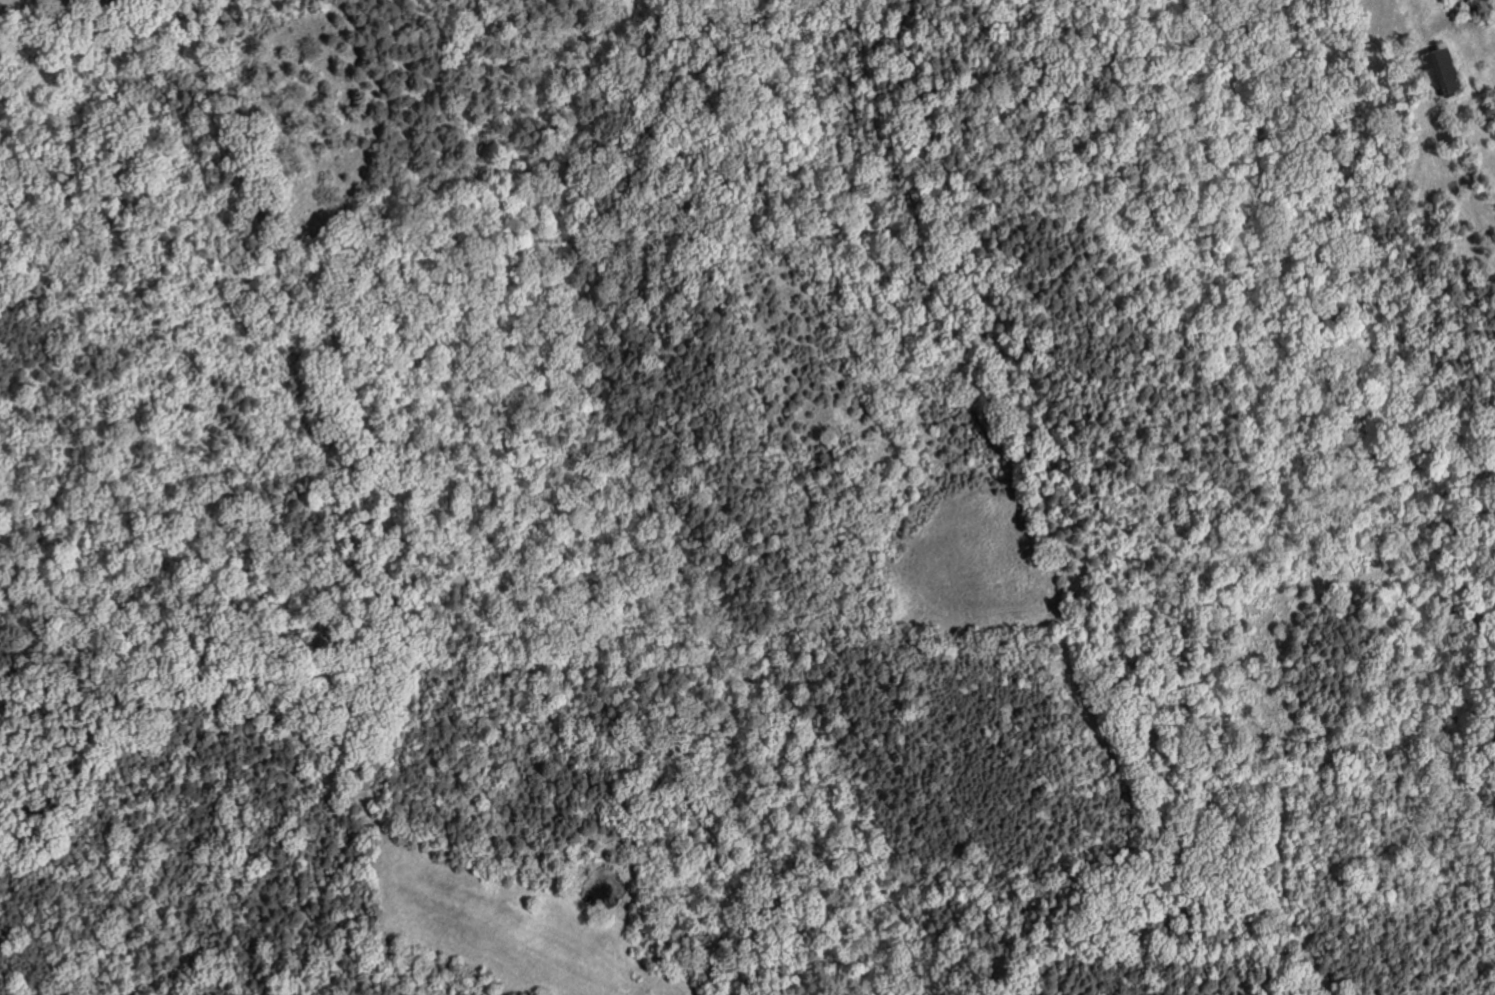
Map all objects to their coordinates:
building: (1435, 73)

